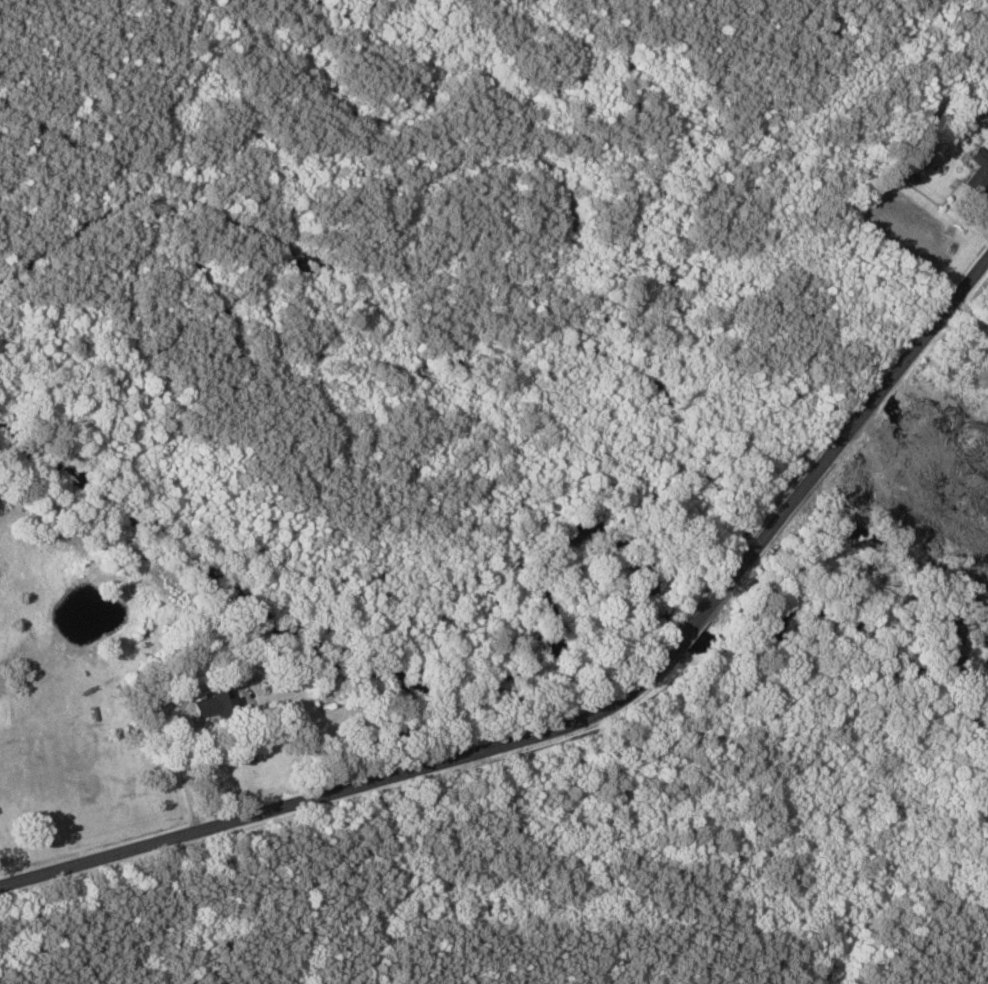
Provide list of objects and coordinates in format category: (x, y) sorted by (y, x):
building: (979, 170)
road: (853, 430)
road: (697, 624)
building: (213, 704)
road: (348, 789)

